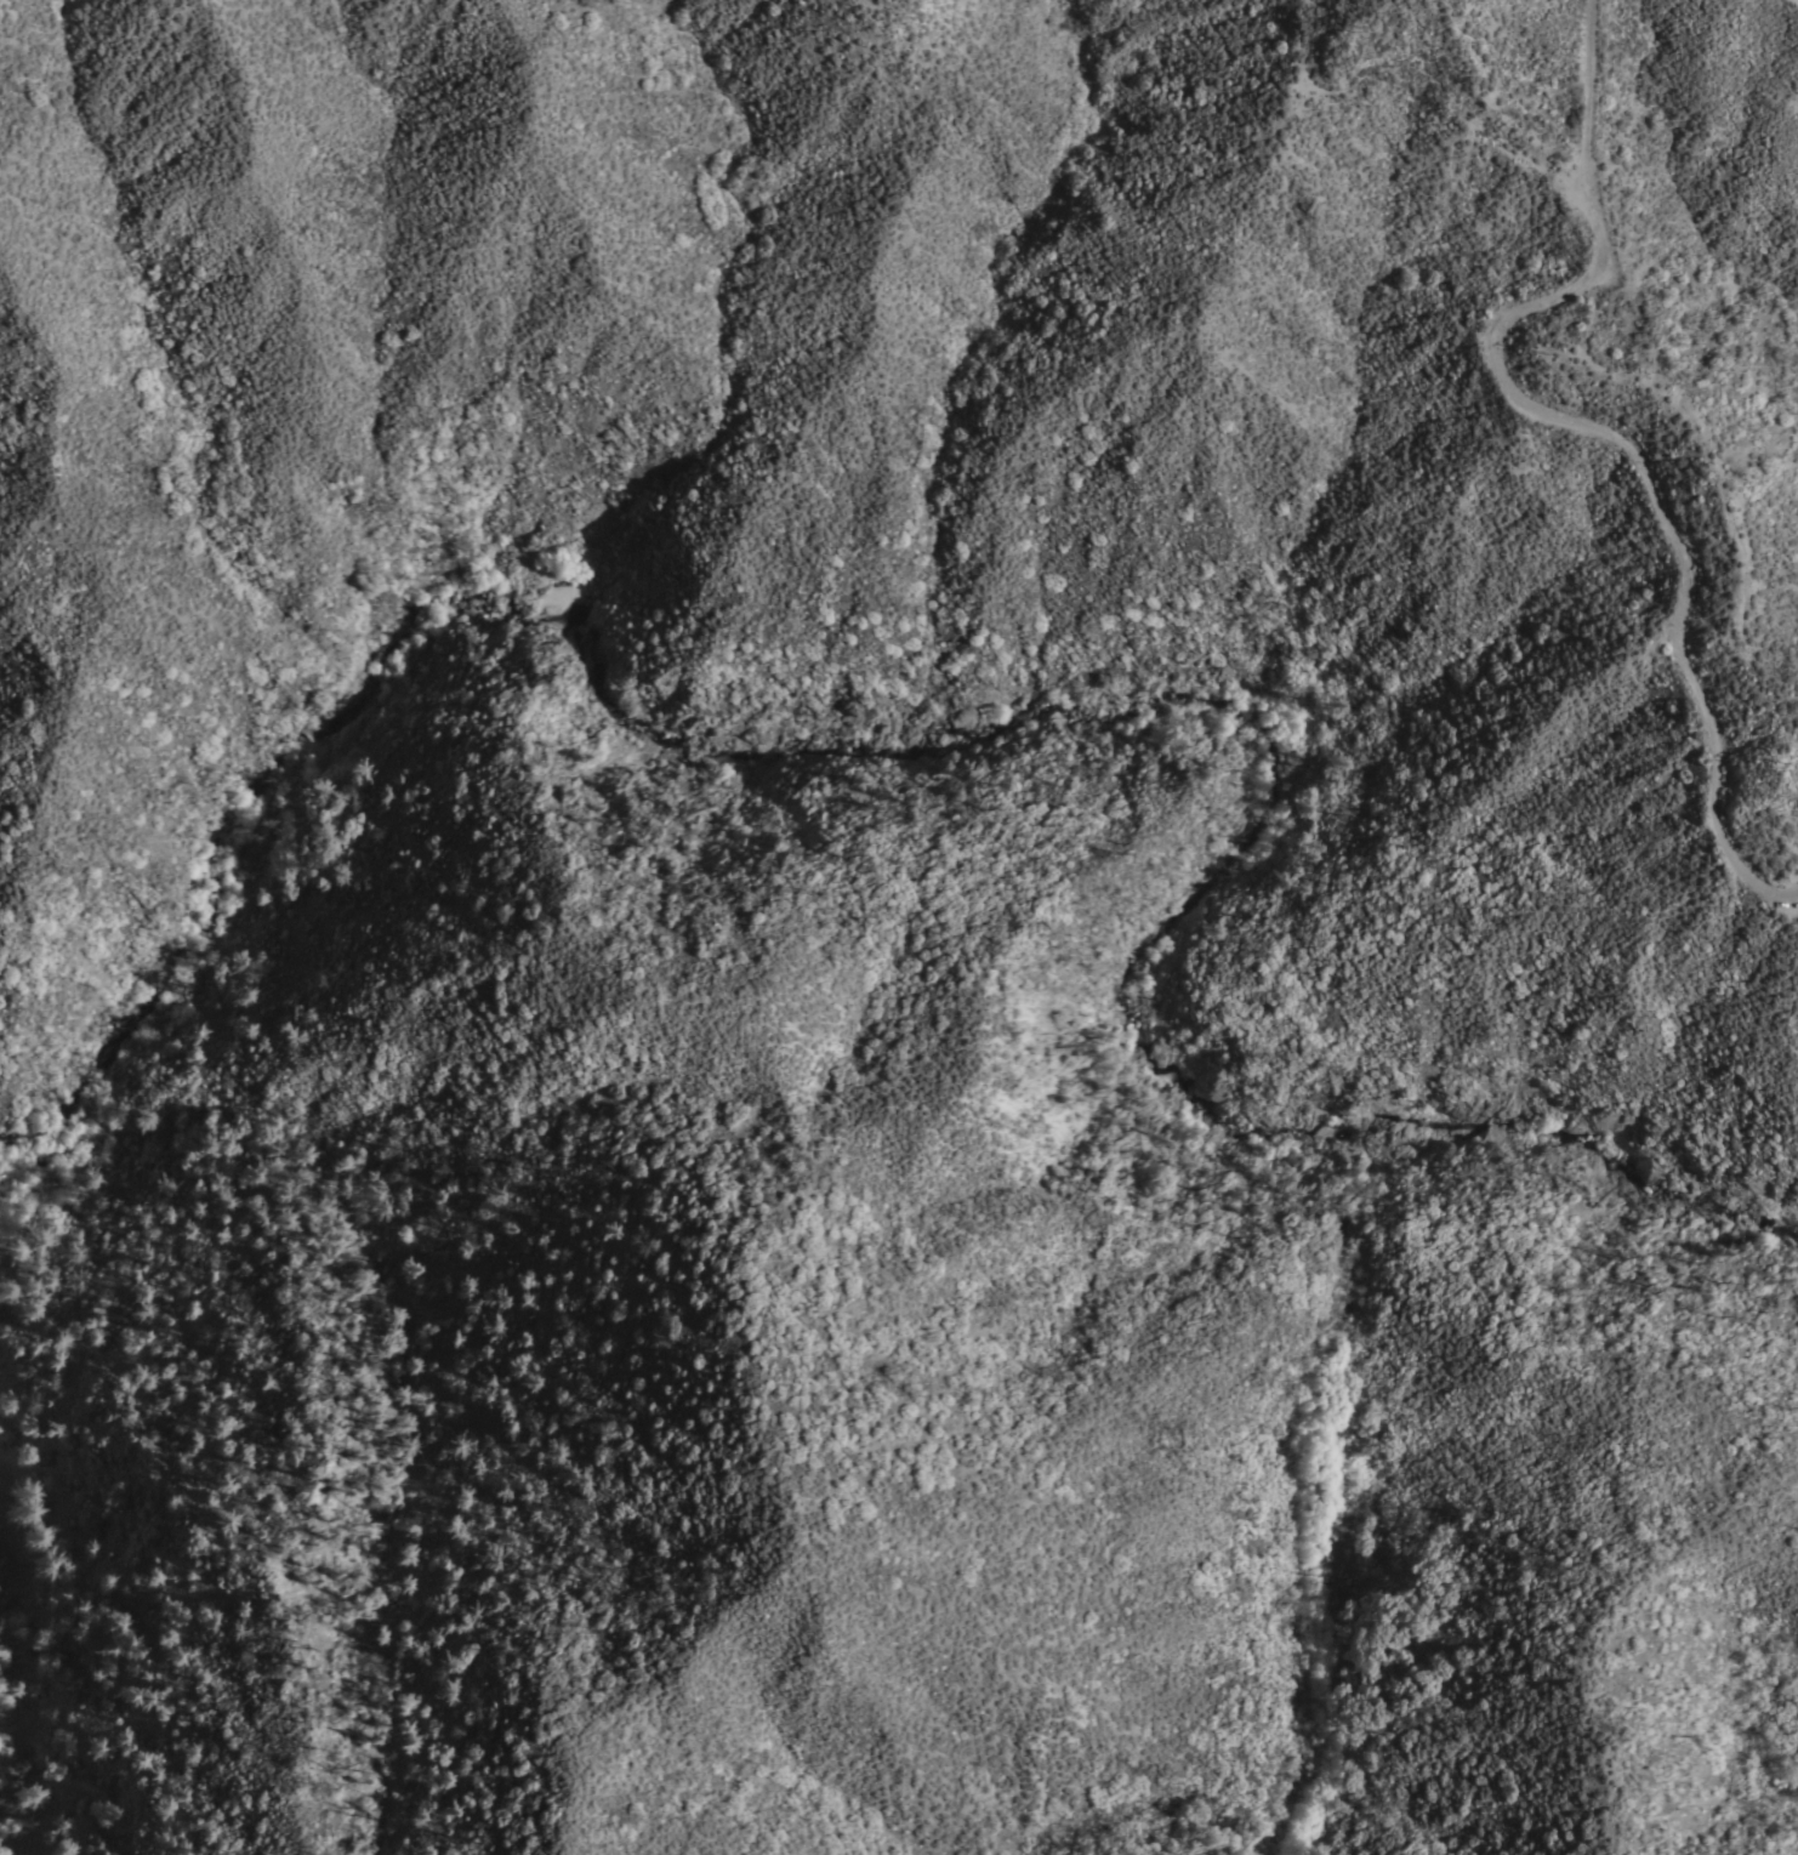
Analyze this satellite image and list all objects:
road: (1423, 69)
road: (1611, 422)
river: (983, 715)

